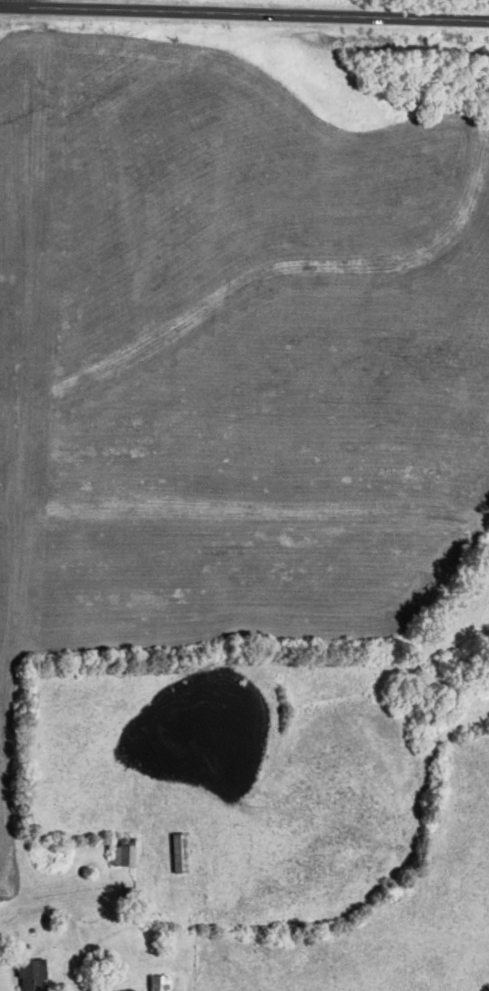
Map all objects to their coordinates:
road: (6, 3)
road: (244, 14)
building: (120, 851)
building: (177, 852)
building: (131, 895)
building: (29, 974)
building: (156, 982)
building: (122, 990)

